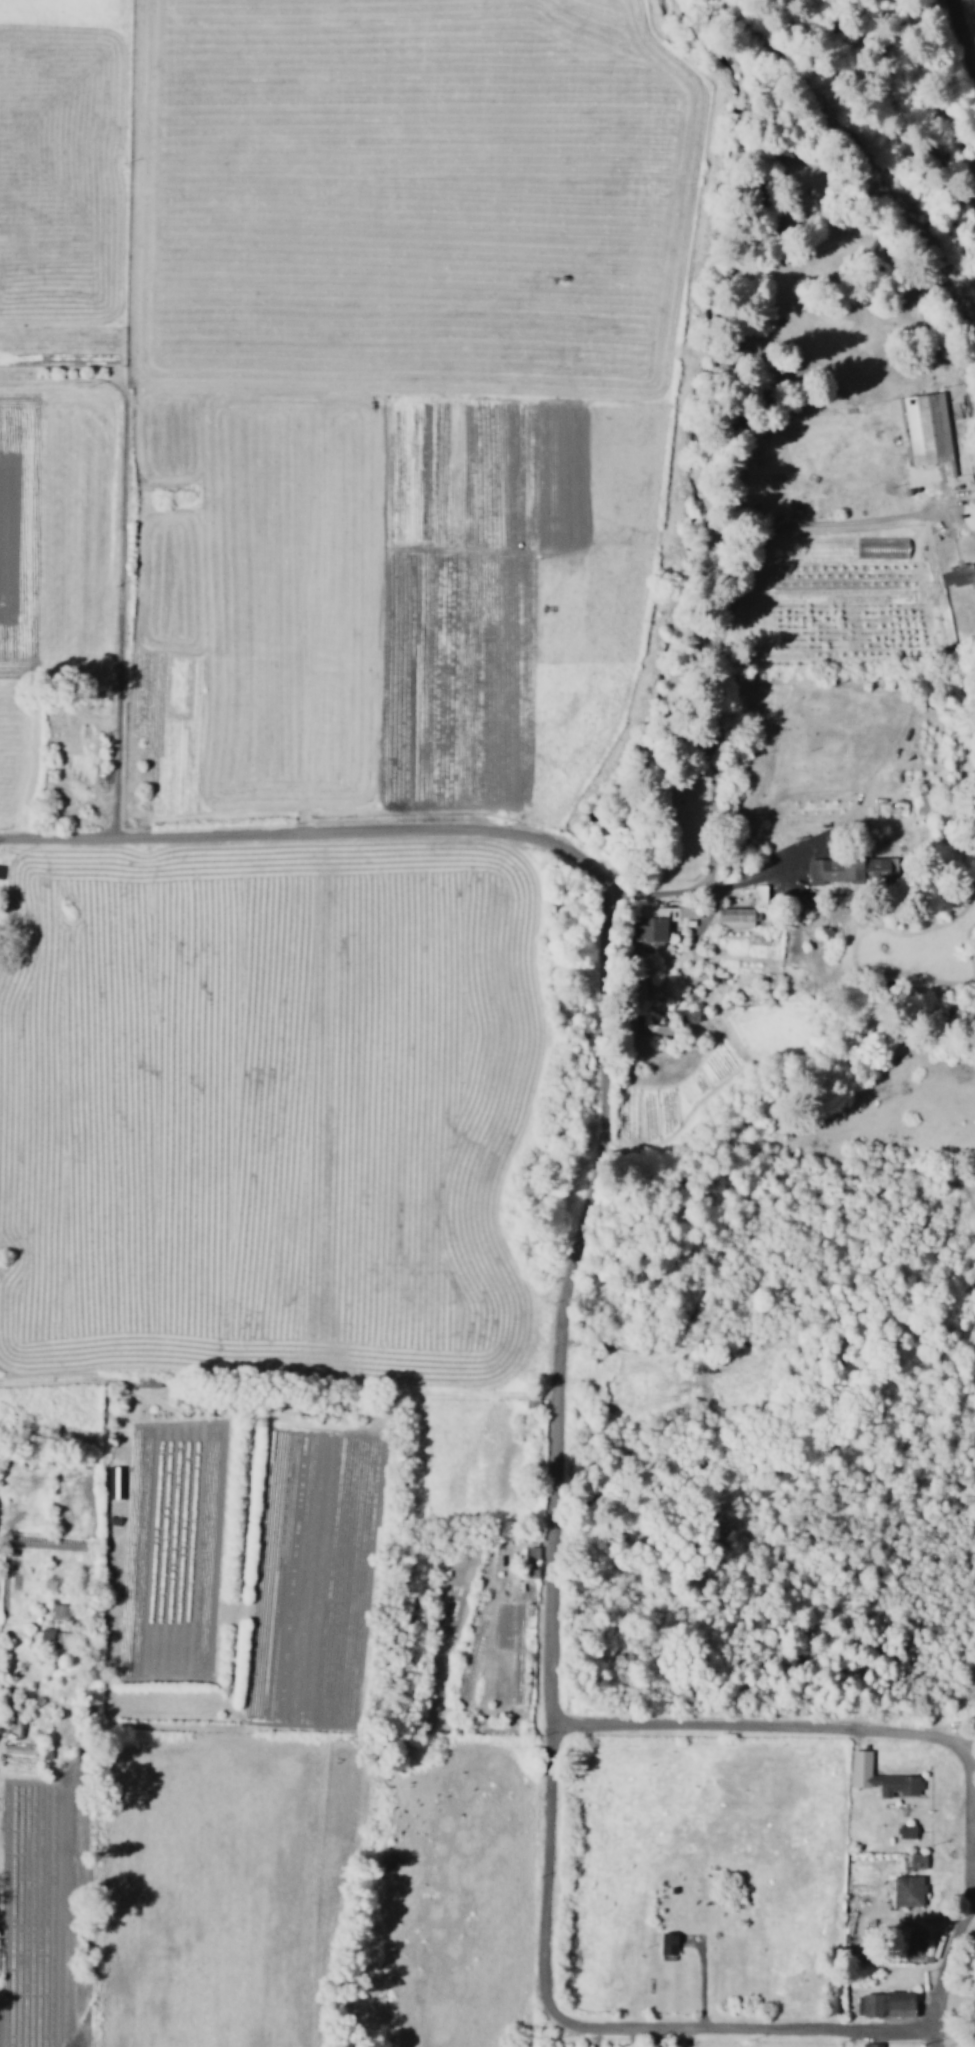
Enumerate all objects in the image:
road: (963, 29)
railway: (856, 138)
building: (927, 427)
building: (882, 548)
building: (954, 577)
road: (121, 615)
road: (723, 624)
road: (319, 836)
building: (879, 867)
building: (824, 870)
road: (902, 889)
road: (673, 891)
building: (760, 895)
building: (738, 917)
building: (661, 922)
building: (687, 1016)
building: (659, 1030)
road: (557, 1452)
building: (61, 1612)
building: (47, 1634)
road: (890, 1735)
building: (879, 1777)
building: (905, 1831)
building: (905, 1890)
road: (966, 1896)
building: (665, 1943)
building: (883, 2004)
road: (746, 2031)
road: (957, 2034)
road: (784, 2039)
road: (939, 2040)

